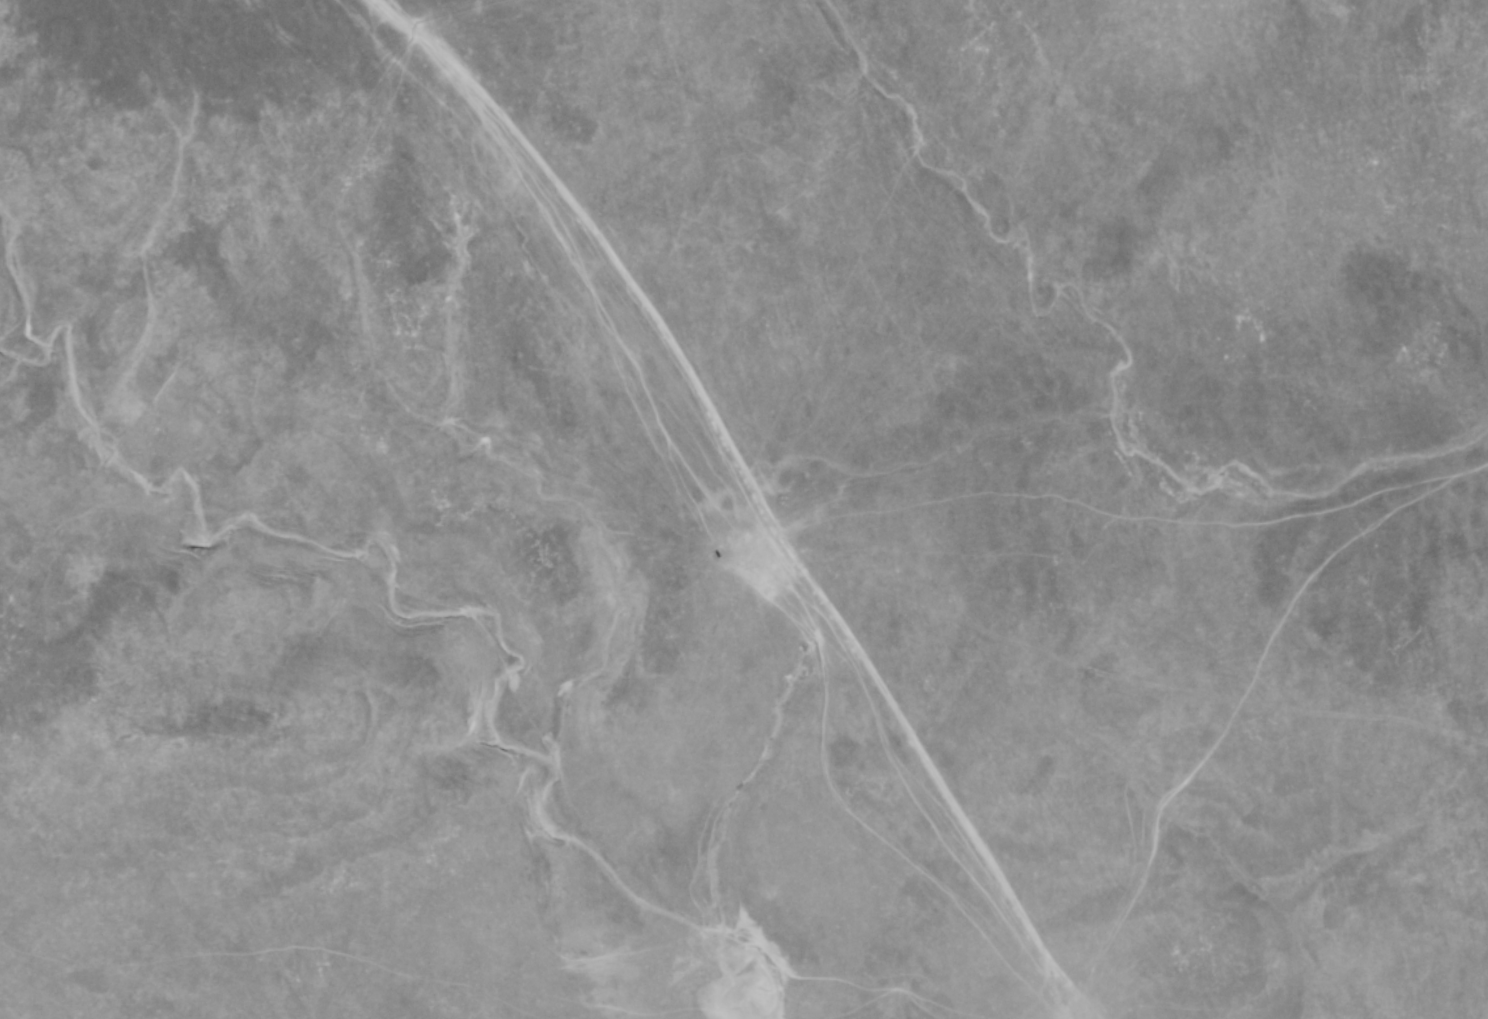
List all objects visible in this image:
road: (771, 491)

